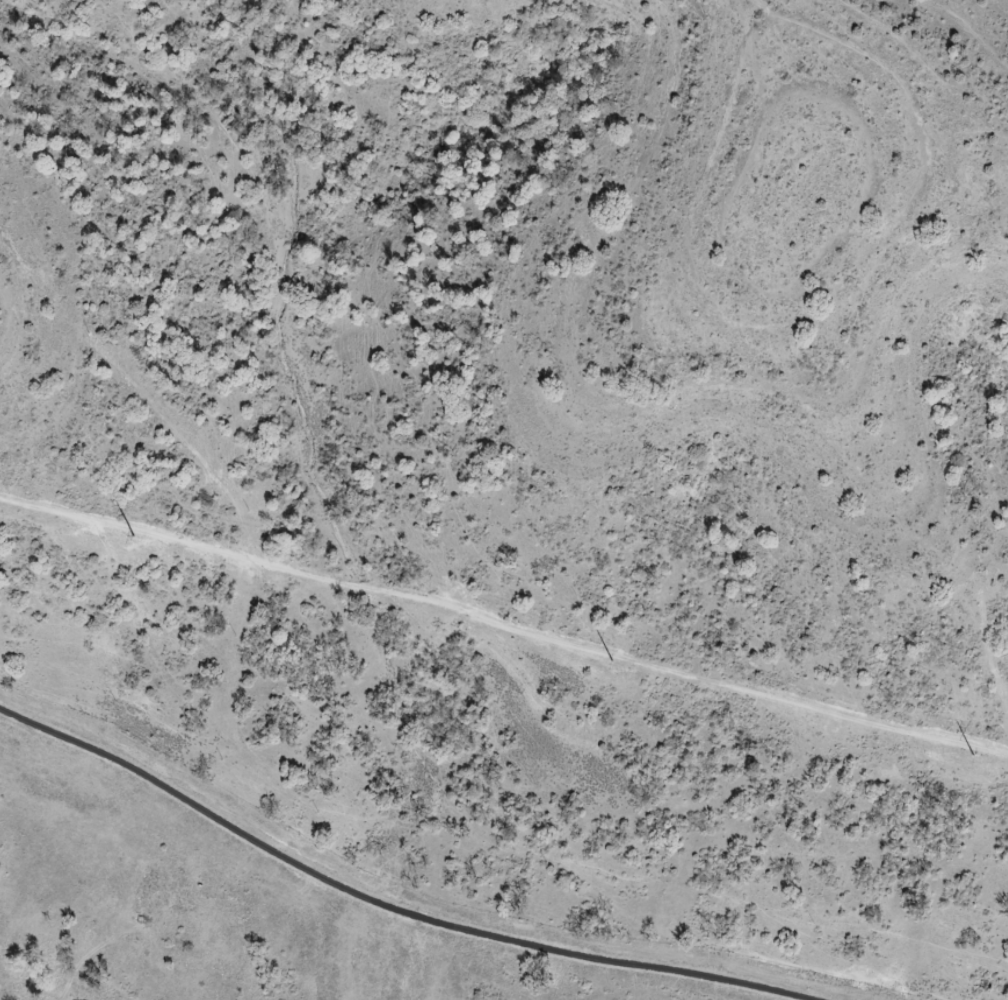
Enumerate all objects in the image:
power tower: (136, 537)
power tower: (616, 662)
power tower: (977, 756)
road: (426, 905)

